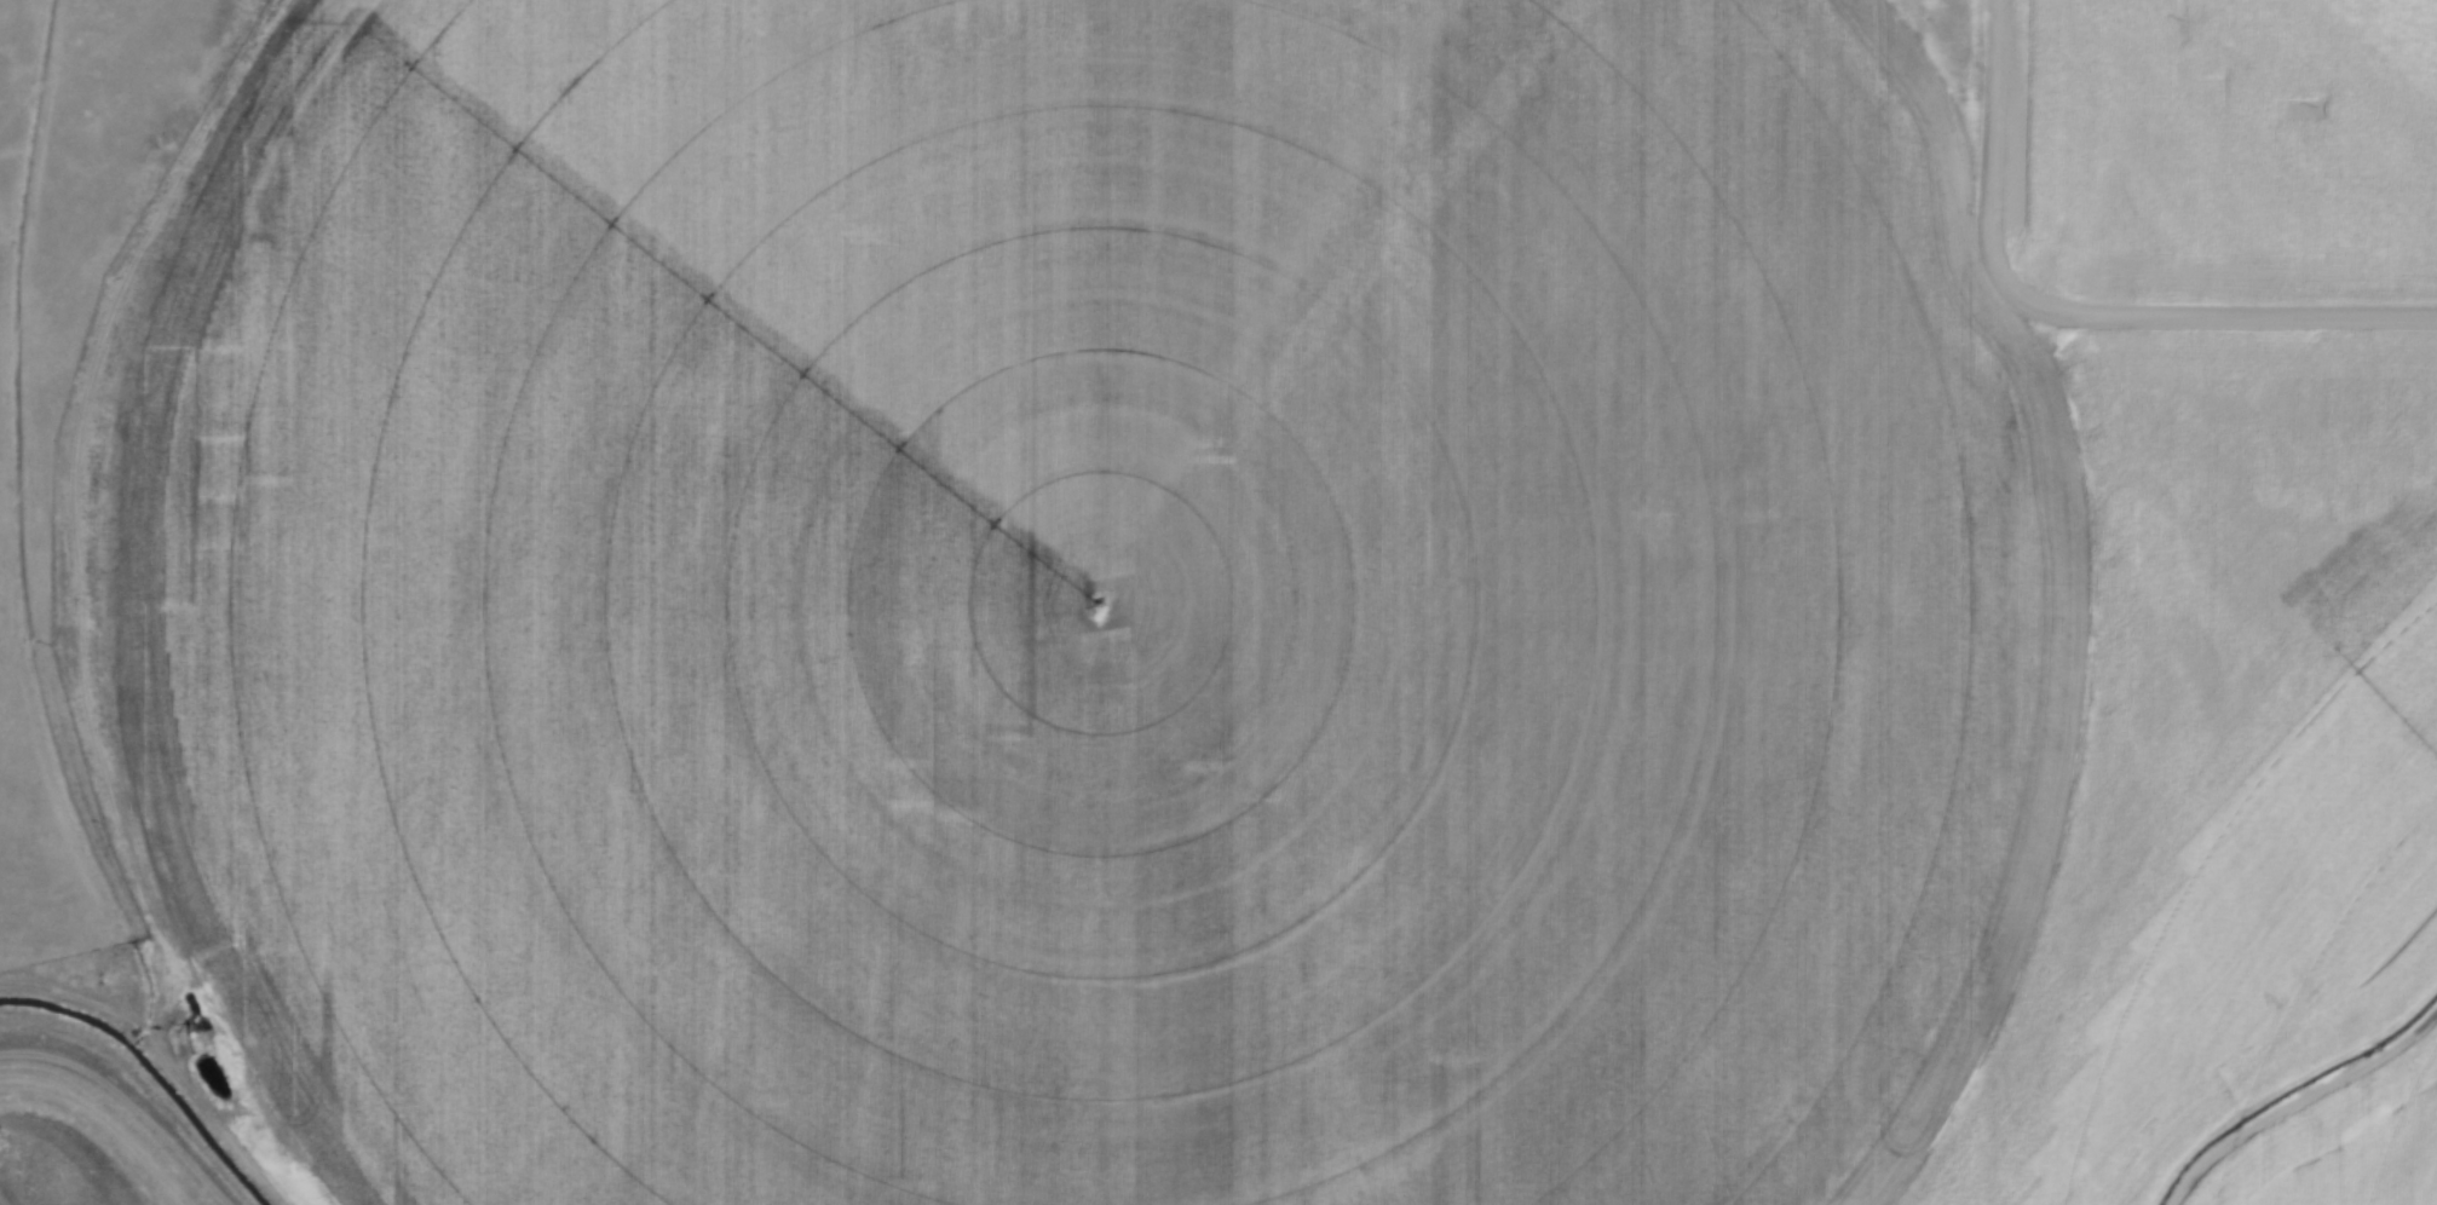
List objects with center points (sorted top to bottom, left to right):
crop: (2219, 150)
road: (2063, 319)
crop: (1233, 627)
crop: (71, 1149)

